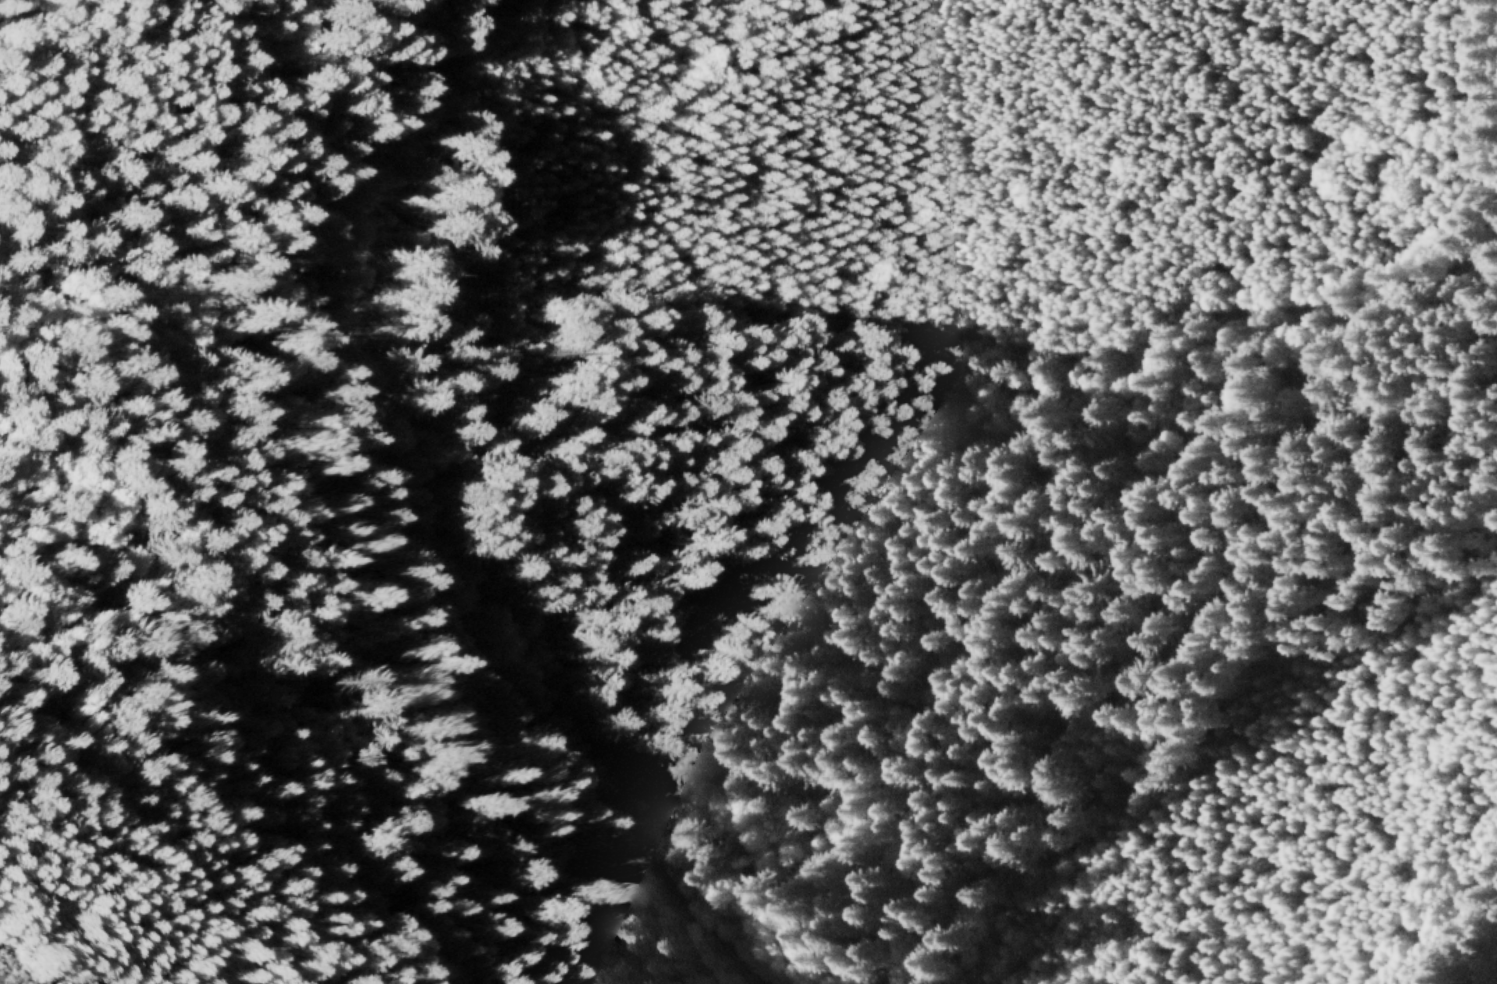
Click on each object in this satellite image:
road: (650, 86)
road: (397, 516)
road: (9, 882)
road: (162, 976)

